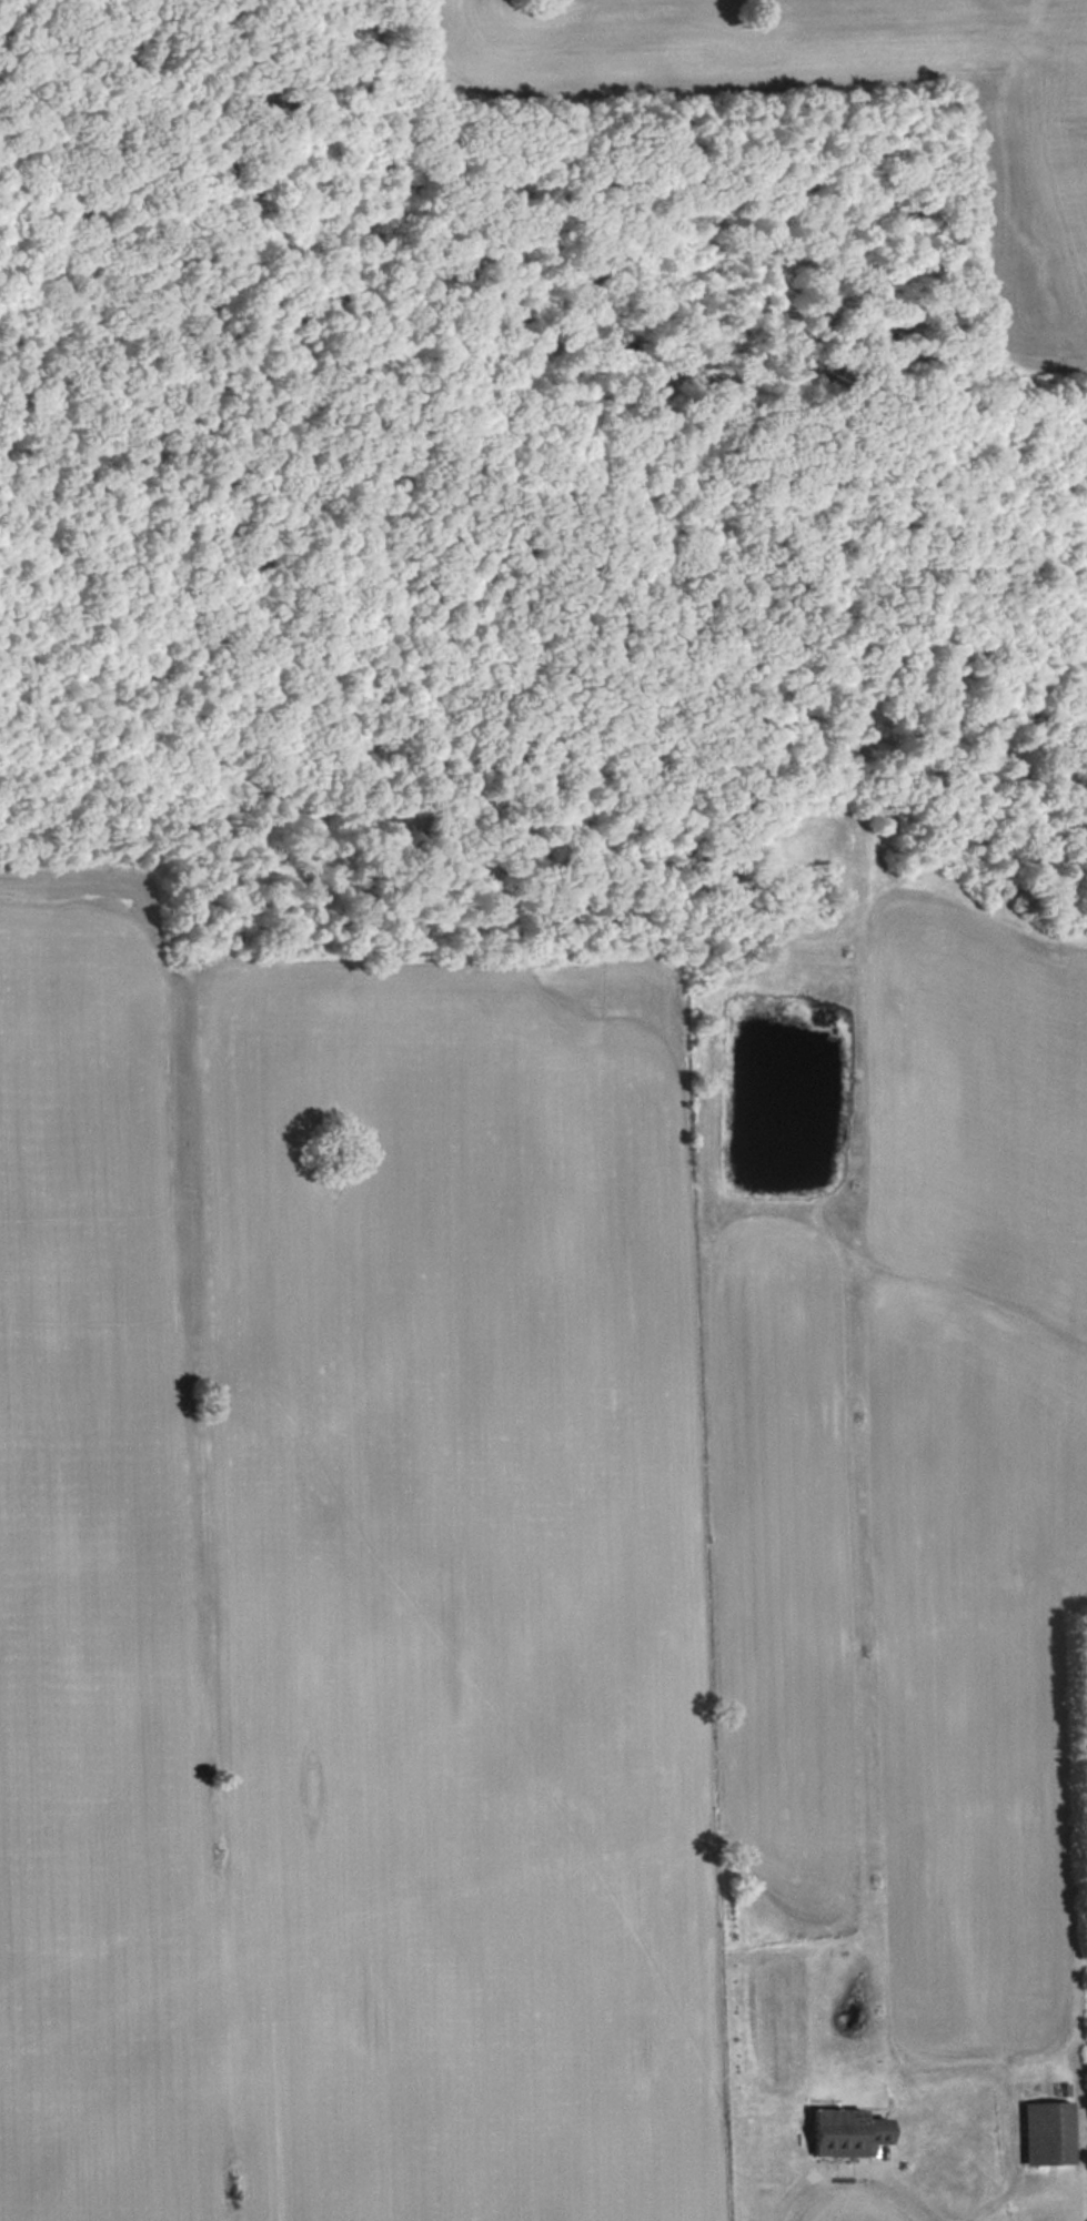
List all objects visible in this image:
building: (852, 2131)
building: (1050, 2132)

